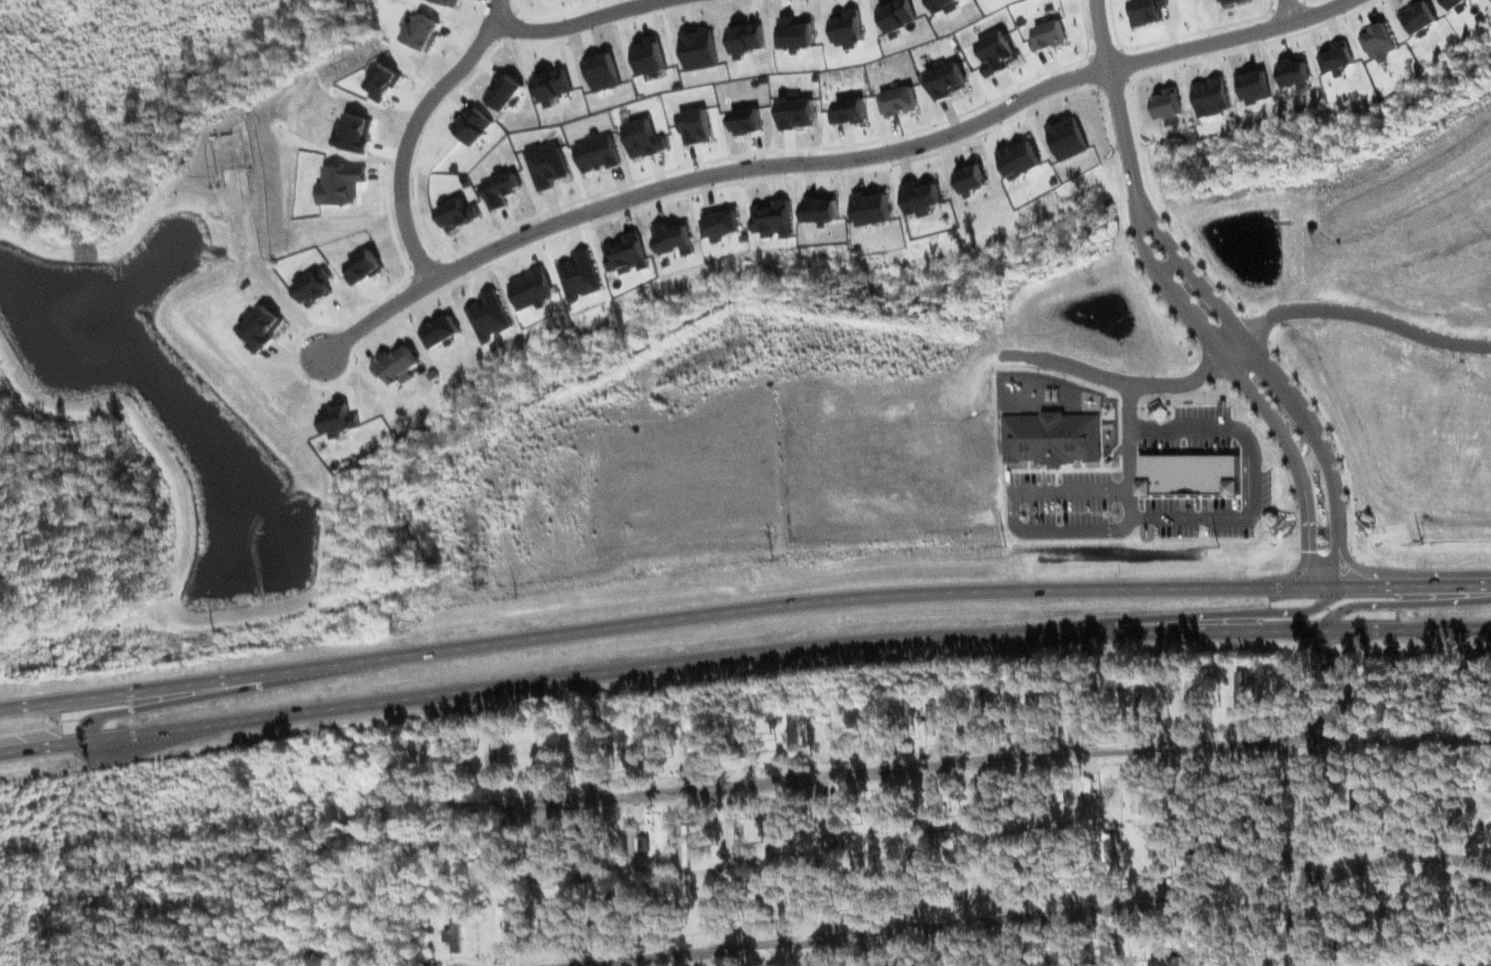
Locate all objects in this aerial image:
road: (1287, 8)
building: (1147, 10)
road: (574, 22)
building: (1047, 35)
building: (1378, 37)
building: (1337, 57)
building: (650, 58)
building: (701, 58)
building: (998, 60)
building: (603, 71)
building: (1288, 77)
building: (943, 79)
building: (387, 81)
building: (1253, 83)
building: (505, 90)
building: (1210, 95)
building: (896, 99)
road: (1116, 101)
building: (1167, 104)
building: (795, 110)
building: (849, 110)
building: (745, 119)
building: (694, 124)
road: (413, 129)
building: (359, 131)
building: (1066, 136)
building: (642, 137)
building: (595, 152)
building: (1018, 158)
road: (820, 161)
building: (546, 164)
building: (970, 176)
building: (342, 182)
building: (499, 189)
building: (921, 197)
building: (872, 205)
building: (820, 208)
building: (457, 214)
building: (772, 216)
building: (719, 222)
building: (672, 236)
building: (624, 253)
building: (365, 265)
building: (579, 275)
building: (314, 287)
building: (531, 288)
road: (1365, 314)
building: (488, 315)
building: (263, 327)
building: (439, 330)
road: (1232, 344)
building: (396, 364)
road: (1120, 379)
road: (1276, 379)
road: (1251, 391)
building: (338, 418)
building: (1055, 437)
road: (1071, 528)
road: (1404, 602)
road: (742, 610)
road: (1256, 613)
road: (742, 653)
building: (1241, 693)
road: (1327, 697)
road: (148, 704)
building: (1191, 705)
building: (983, 711)
road: (1341, 713)
building: (885, 723)
building: (646, 743)
building: (495, 756)
road: (943, 765)
road: (1309, 779)
building: (1355, 795)
building: (1188, 799)
road: (1269, 802)
building: (983, 812)
building: (844, 816)
building: (1355, 820)
building: (836, 824)
building: (734, 840)
building: (635, 842)
building: (1159, 845)
building: (538, 858)
road: (1378, 861)
building: (1108, 864)
road: (1305, 884)
building: (762, 892)
building: (810, 898)
building: (563, 913)
building: (1375, 914)
building: (1158, 922)
building: (1336, 923)
road: (922, 929)
building: (1107, 952)
building: (1058, 957)
building: (1174, 961)

